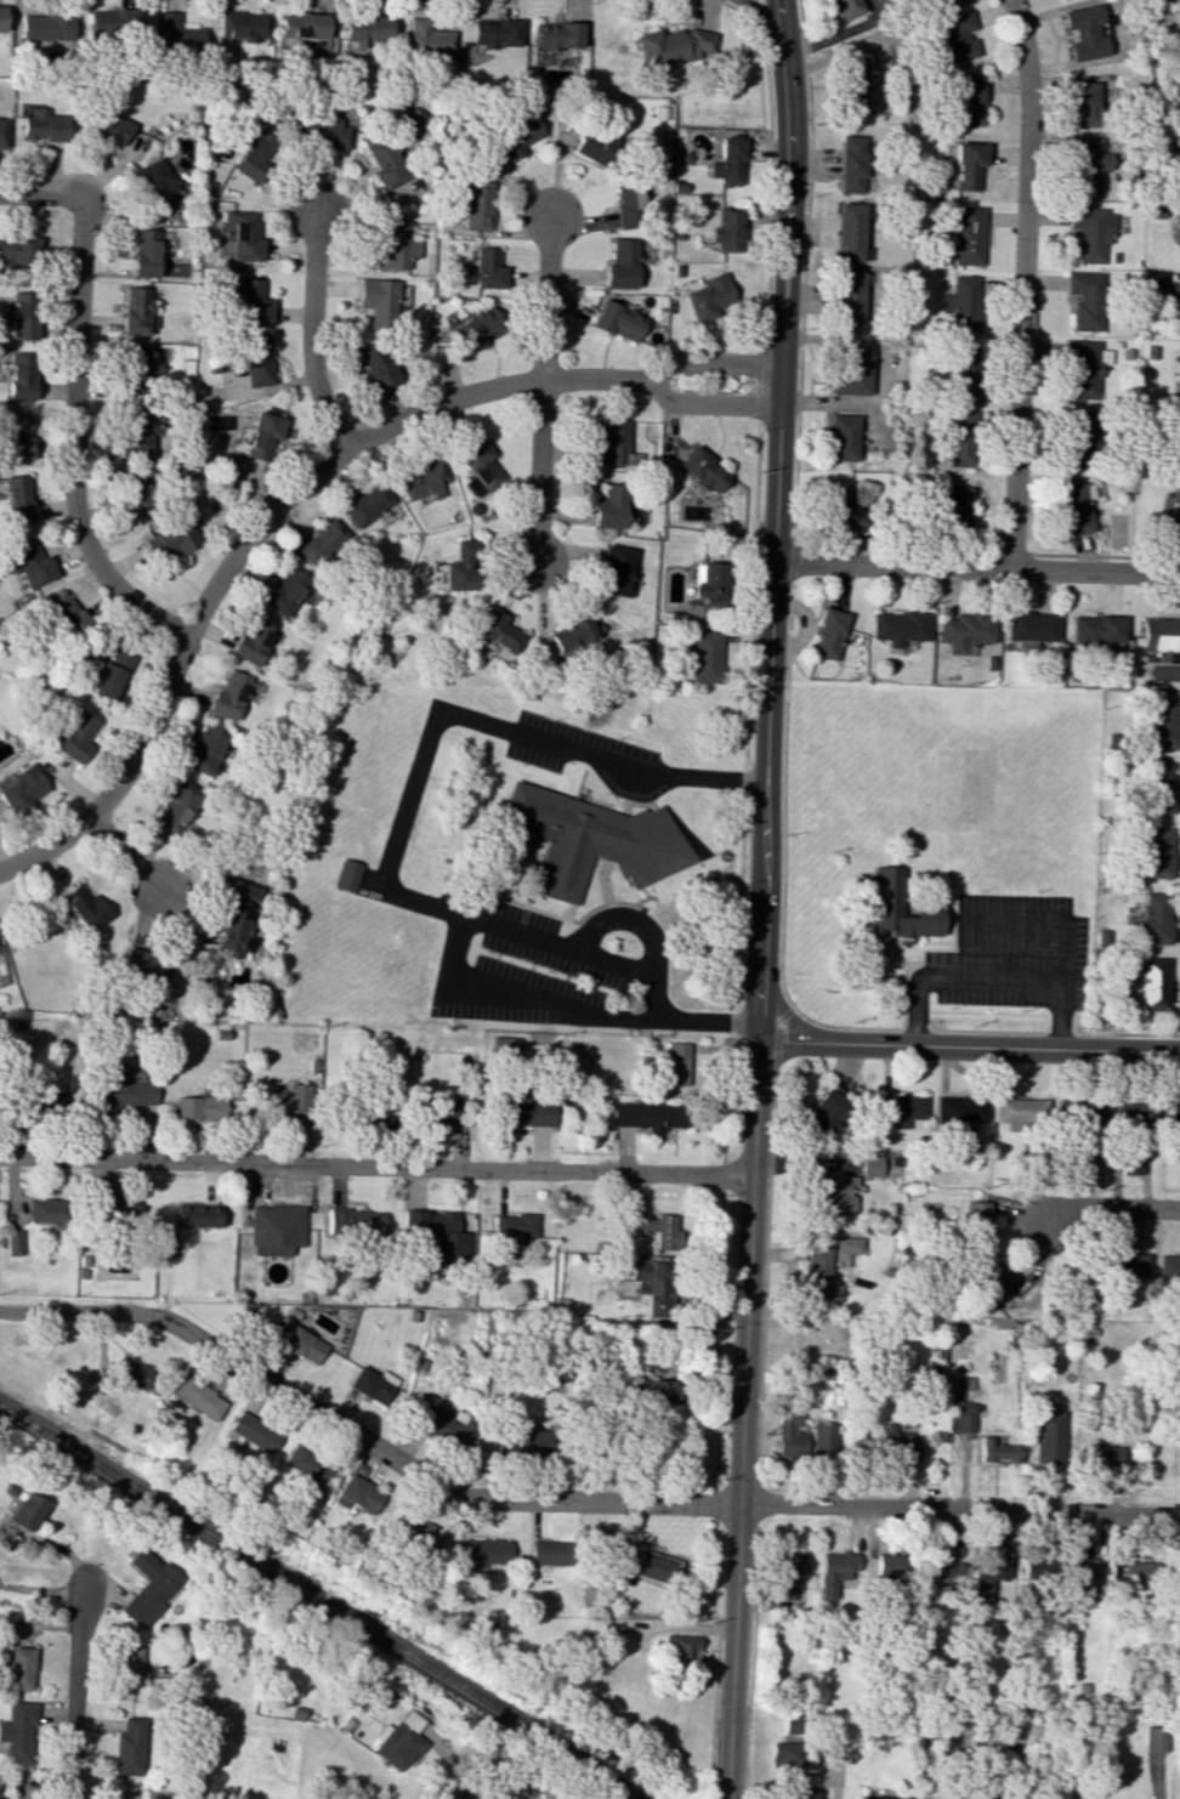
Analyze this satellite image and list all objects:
building: (947, 2)
road: (725, 5)
road: (755, 8)
building: (844, 8)
building: (1, 18)
building: (112, 23)
building: (242, 24)
building: (301, 25)
building: (364, 32)
building: (174, 33)
building: (494, 33)
building: (1083, 33)
building: (556, 35)
building: (427, 39)
building: (955, 39)
building: (675, 46)
building: (853, 87)
building: (969, 100)
building: (1085, 103)
building: (42, 125)
building: (109, 127)
building: (1, 130)
building: (322, 132)
building: (514, 140)
building: (591, 148)
building: (254, 155)
building: (727, 161)
building: (384, 164)
building: (851, 164)
building: (1088, 164)
building: (968, 165)
road: (771, 178)
building: (153, 182)
road: (38, 193)
road: (809, 195)
building: (473, 203)
building: (626, 206)
building: (725, 229)
building: (847, 232)
building: (1090, 232)
building: (239, 234)
building: (968, 235)
building: (1178, 237)
building: (393, 248)
building: (17, 250)
building: (143, 252)
building: (620, 265)
building: (483, 268)
road: (1021, 283)
building: (1174, 295)
building: (709, 296)
building: (378, 299)
building: (1085, 299)
building: (847, 300)
building: (251, 301)
building: (961, 303)
building: (136, 311)
building: (21, 316)
building: (618, 320)
building: (475, 329)
road: (311, 334)
road: (711, 359)
building: (256, 361)
building: (376, 365)
building: (1083, 368)
building: (963, 370)
building: (850, 371)
building: (19, 376)
road: (762, 384)
road: (541, 390)
road: (799, 403)
road: (709, 407)
building: (140, 429)
building: (257, 435)
building: (16, 437)
building: (841, 437)
building: (958, 438)
building: (1079, 438)
road: (70, 441)
building: (1176, 444)
building: (613, 446)
building: (480, 469)
building: (702, 470)
building: (227, 471)
building: (421, 478)
road: (796, 479)
building: (134, 494)
building: (15, 499)
building: (367, 503)
building: (609, 506)
building: (955, 507)
building: (843, 509)
building: (1073, 509)
building: (1173, 515)
road: (255, 528)
building: (168, 539)
building: (323, 544)
road: (896, 551)
road: (1105, 557)
building: (27, 563)
road: (792, 566)
building: (460, 567)
road: (977, 567)
building: (614, 571)
building: (708, 586)
building: (284, 590)
building: (64, 613)
building: (900, 626)
building: (1029, 626)
building: (1096, 628)
building: (965, 630)
building: (497, 632)
building: (572, 632)
building: (828, 632)
building: (1159, 634)
building: (251, 642)
building: (705, 657)
building: (112, 675)
building: (228, 694)
building: (1163, 722)
building: (75, 736)
parking lot: (561, 743)
building: (206, 750)
building: (1161, 788)
building: (21, 789)
road: (783, 799)
building: (177, 806)
building: (591, 839)
building: (1158, 852)
road: (126, 853)
building: (347, 875)
road: (605, 881)
road: (555, 897)
road: (503, 898)
road: (761, 898)
road: (421, 899)
road: (608, 904)
building: (85, 907)
building: (901, 909)
building: (237, 916)
building: (1155, 918)
road: (630, 921)
road: (955, 930)
road: (949, 931)
road: (738, 952)
parking lot: (1012, 954)
road: (886, 960)
road: (907, 967)
building: (148, 969)
building: (1130, 970)
parking lot: (522, 974)
road: (1033, 978)
building: (1152, 983)
road: (904, 994)
road: (1063, 1014)
road: (704, 1018)
road: (1040, 1031)
road: (776, 1033)
building: (504, 1045)
road: (969, 1046)
building: (676, 1063)
building: (291, 1105)
building: (199, 1107)
building: (901, 1108)
building: (960, 1110)
building: (443, 1111)
building: (827, 1111)
building: (1021, 1111)
building: (1134, 1112)
building: (380, 1113)
building: (527, 1113)
building: (1174, 1113)
building: (647, 1116)
building: (1131, 1163)
road: (375, 1165)
building: (870, 1165)
building: (839, 1193)
road: (1108, 1208)
building: (45, 1209)
building: (197, 1214)
building: (975, 1218)
building: (356, 1222)
building: (515, 1226)
building: (274, 1230)
building: (659, 1230)
building: (437, 1235)
building: (13, 1242)
building: (847, 1244)
building: (168, 1245)
building: (1127, 1265)
building: (1168, 1267)
building: (816, 1270)
road: (766, 1272)
building: (987, 1277)
building: (652, 1284)
building: (302, 1344)
building: (131, 1375)
building: (373, 1384)
building: (198, 1397)
building: (961, 1417)
building: (447, 1426)
building: (254, 1431)
building: (790, 1435)
building: (1049, 1436)
building: (824, 1438)
building: (523, 1442)
building: (895, 1443)
building: (997, 1452)
building: (1102, 1455)
building: (308, 1464)
road: (741, 1479)
road: (714, 1480)
building: (359, 1493)
road: (565, 1498)
road: (756, 1498)
road: (715, 1505)
building: (25, 1510)
road: (736, 1517)
building: (415, 1532)
building: (483, 1550)
building: (546, 1553)
building: (940, 1565)
building: (887, 1567)
building: (1036, 1570)
building: (787, 1571)
building: (1134, 1572)
building: (835, 1573)
building: (987, 1574)
building: (1087, 1579)
building: (152, 1588)
railway: (314, 1604)
road: (715, 1625)
building: (679, 1646)
road: (750, 1658)
building: (131, 1664)
building: (21, 1668)
road: (79, 1691)
building: (790, 1724)
building: (18, 1731)
building: (1153, 1738)
building: (399, 1741)
building: (130, 1747)
building: (789, 1754)
road: (707, 1766)
road: (470, 1788)
building: (1, 1794)
building: (806, 1794)
building: (878, 1798)

